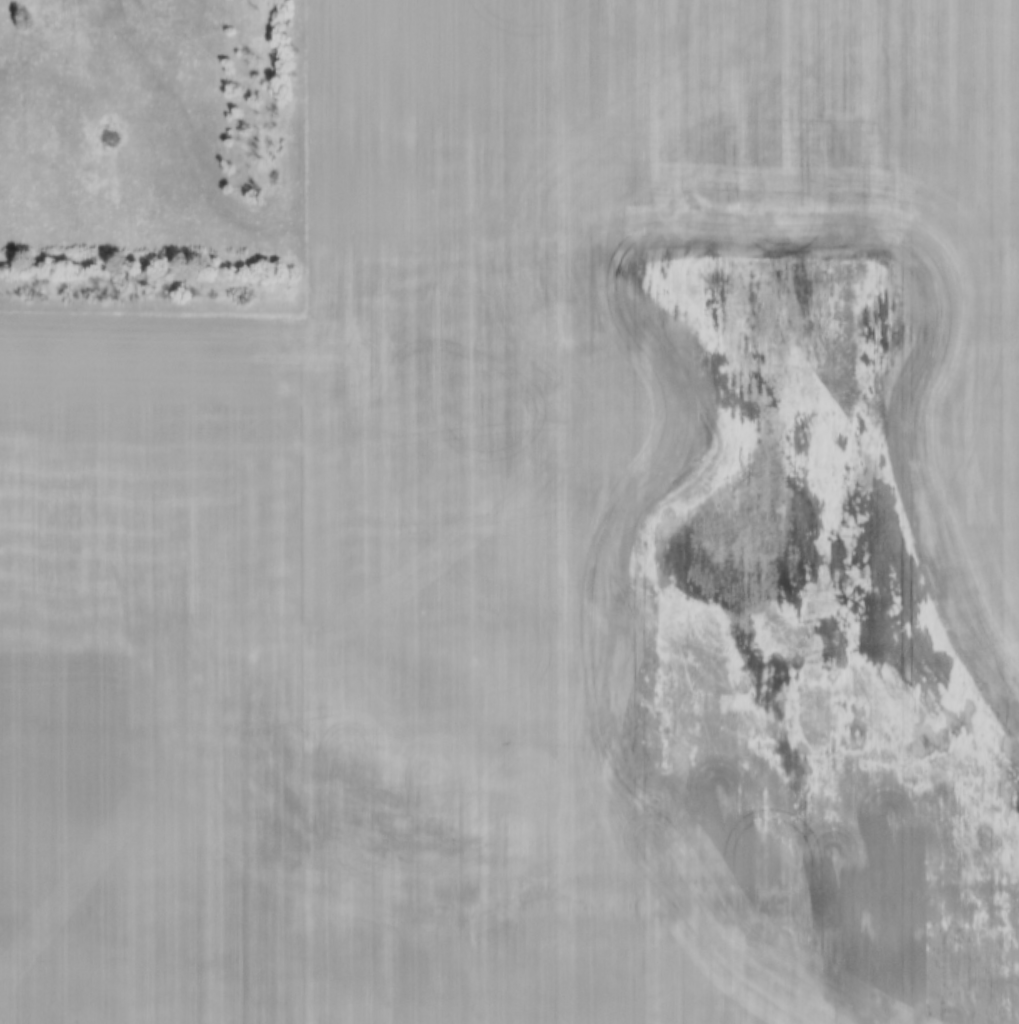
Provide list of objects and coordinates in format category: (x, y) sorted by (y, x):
road: (499, 241)

